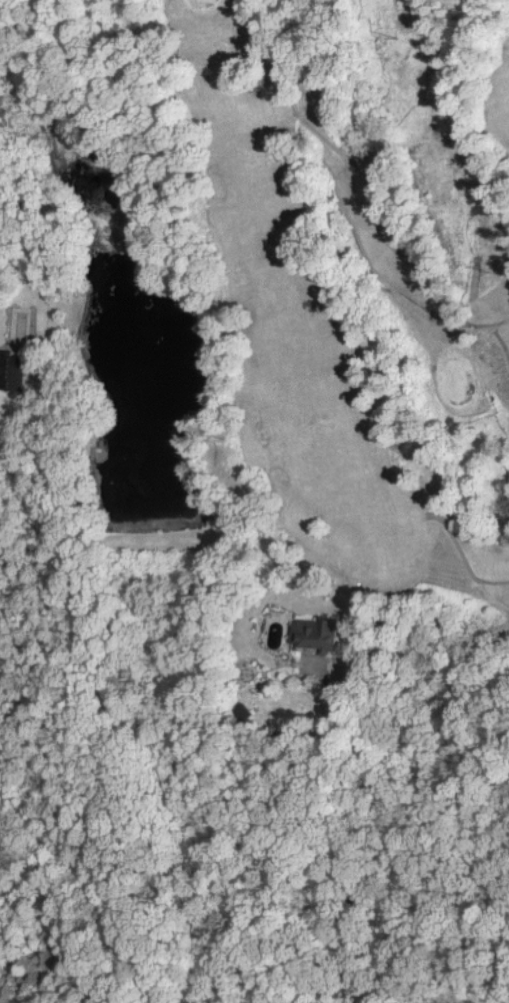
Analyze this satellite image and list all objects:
road: (255, 19)
road: (369, 203)
park: (335, 286)
road: (500, 342)
road: (459, 558)
building: (320, 634)
road: (413, 648)

